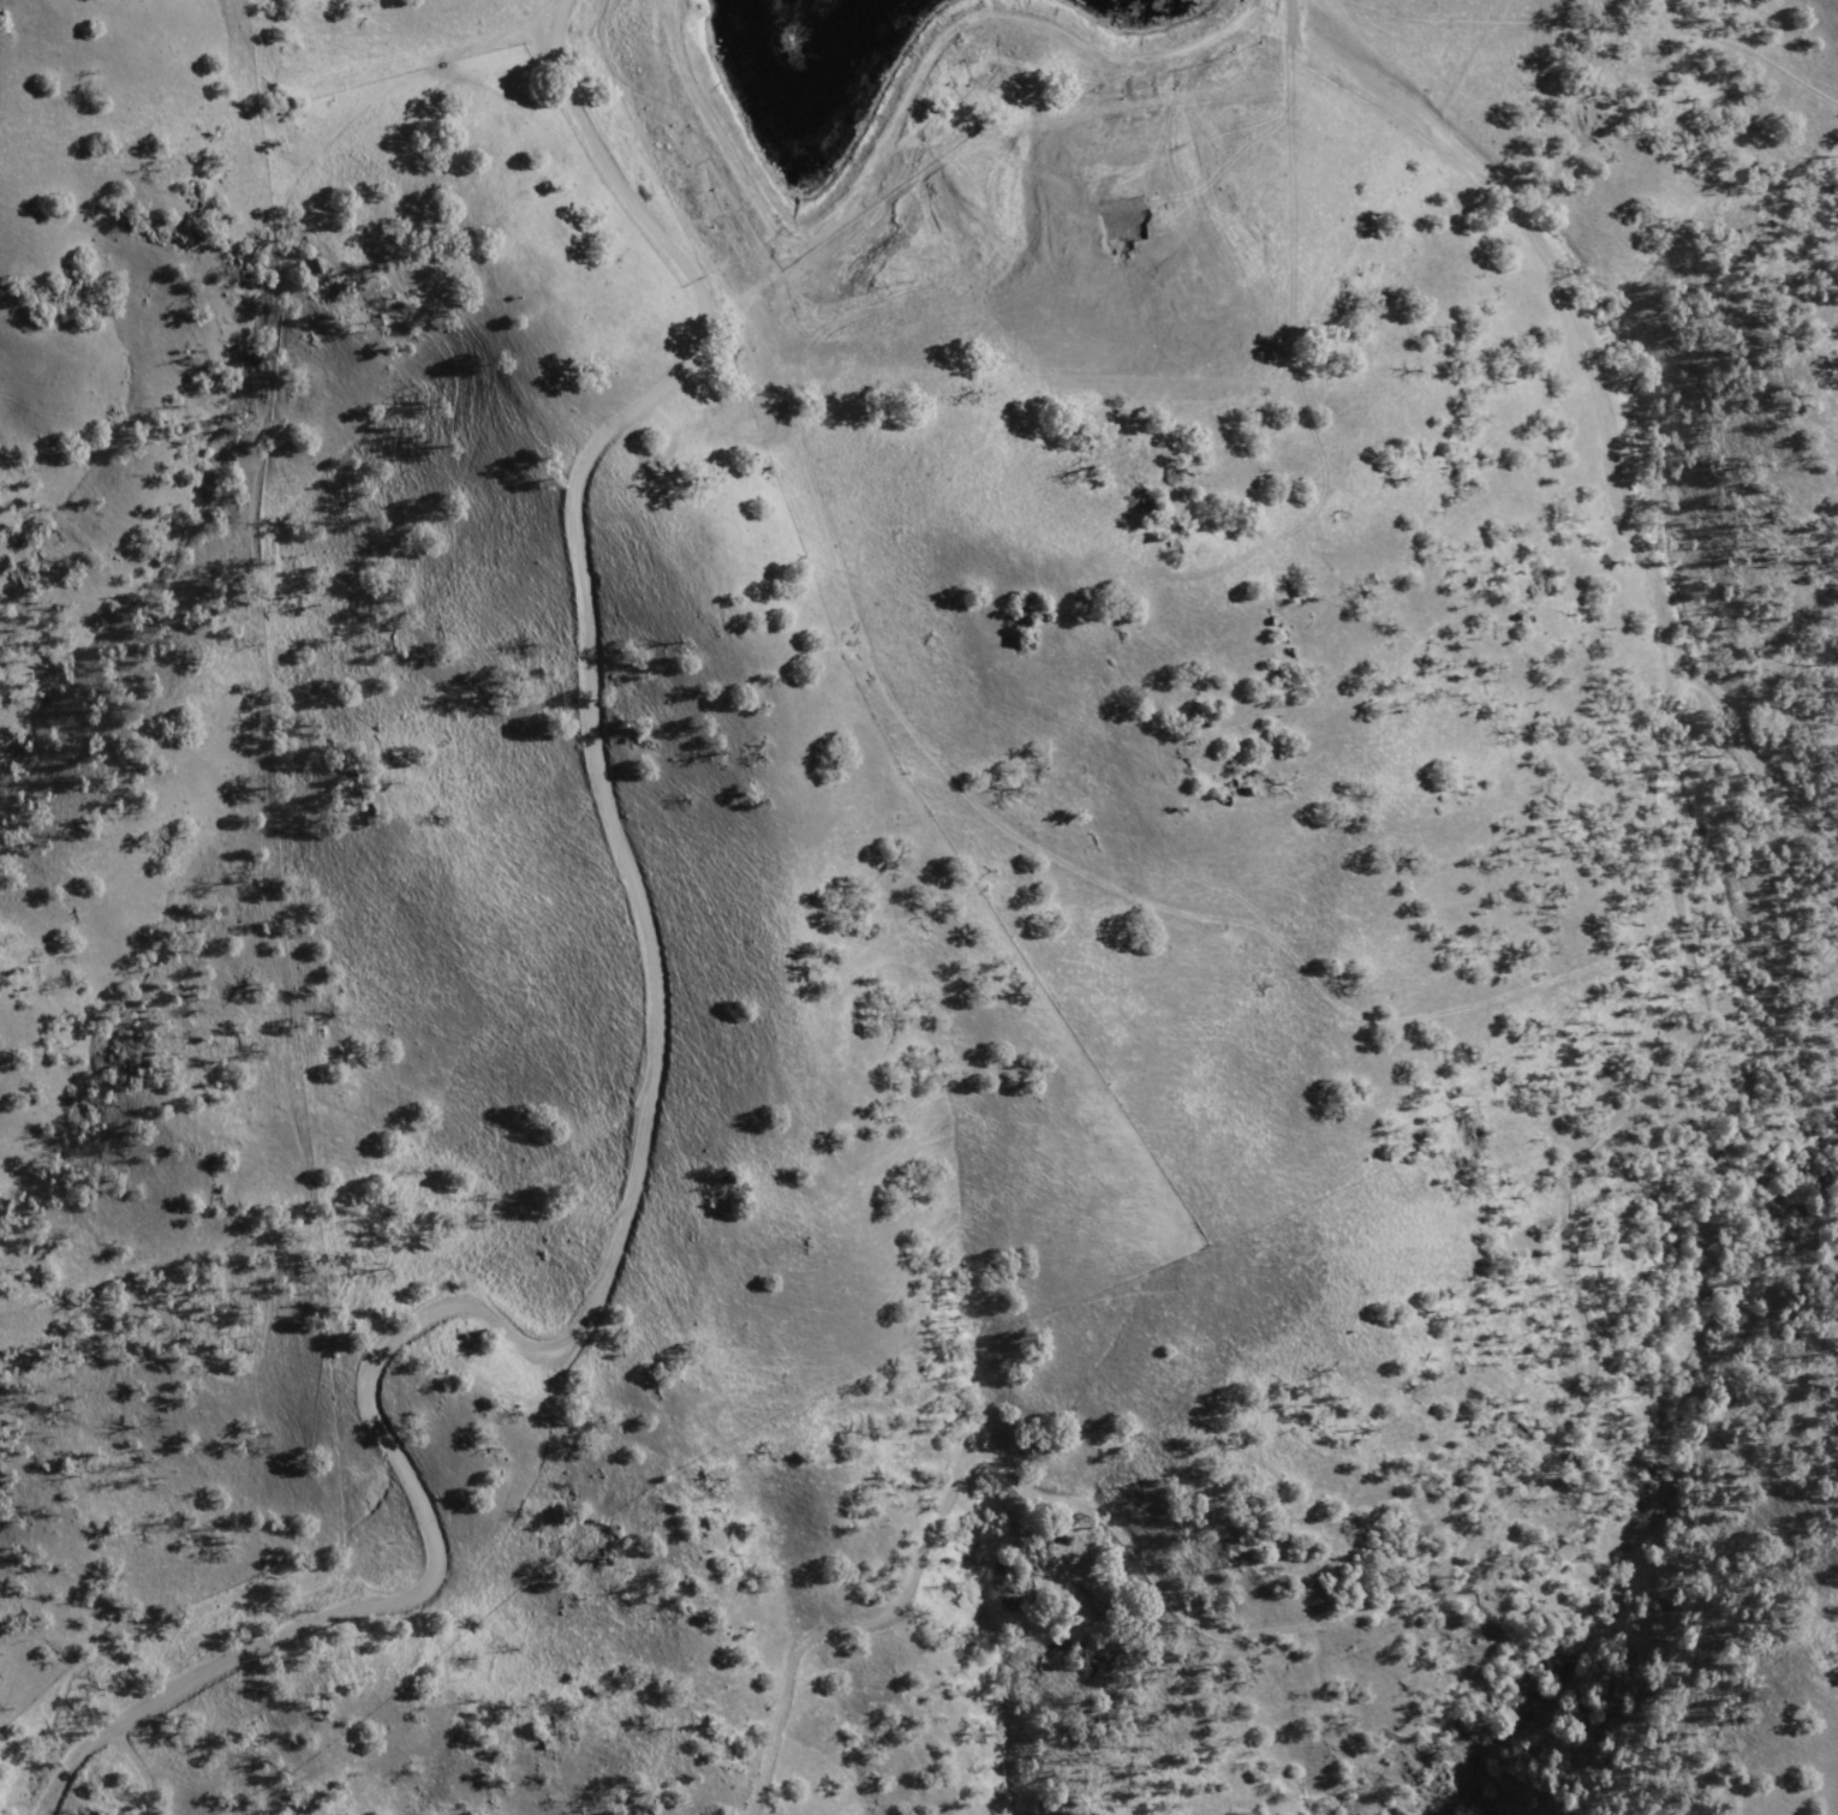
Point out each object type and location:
road: (1571, 310)
road: (867, 814)
road: (654, 1092)
road: (1539, 1500)

